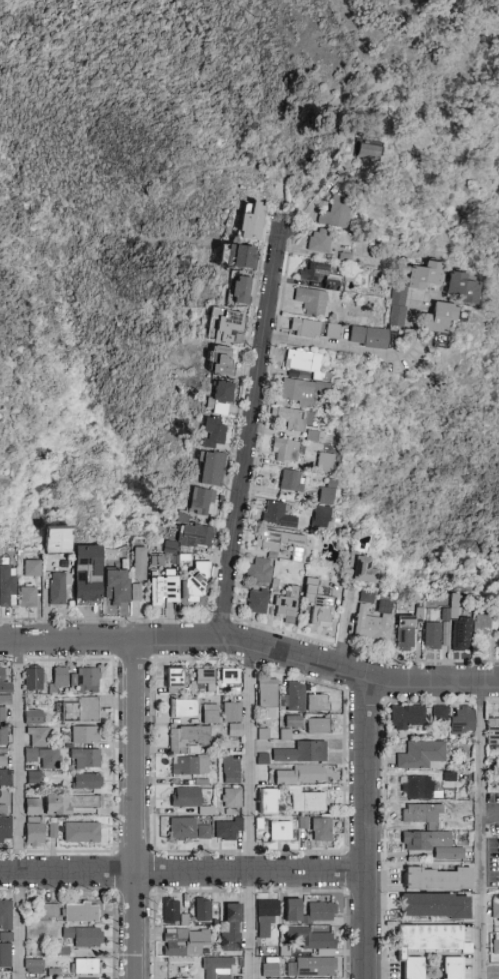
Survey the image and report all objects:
building: (367, 150)
road: (316, 200)
building: (340, 213)
building: (247, 222)
building: (322, 241)
building: (347, 257)
building: (239, 258)
building: (426, 274)
building: (323, 275)
building: (463, 286)
building: (243, 291)
building: (314, 301)
building: (400, 306)
building: (441, 316)
building: (233, 328)
building: (316, 329)
building: (370, 336)
road: (363, 352)
building: (223, 362)
building: (310, 363)
building: (301, 375)
building: (305, 393)
building: (222, 399)
building: (295, 418)
building: (215, 433)
building: (321, 437)
road: (249, 439)
building: (287, 450)
building: (326, 463)
building: (215, 470)
building: (294, 481)
building: (333, 484)
building: (328, 496)
building: (203, 501)
building: (280, 515)
building: (180, 516)
building: (323, 516)
building: (184, 520)
building: (361, 534)
building: (196, 538)
building: (279, 541)
building: (58, 542)
building: (340, 546)
building: (172, 549)
building: (299, 555)
building: (187, 559)
building: (176, 561)
building: (159, 562)
building: (66, 565)
building: (141, 565)
building: (364, 568)
building: (34, 570)
building: (261, 572)
building: (89, 575)
building: (276, 584)
building: (119, 586)
building: (197, 586)
building: (8, 588)
building: (61, 589)
building: (151, 589)
building: (165, 591)
building: (138, 594)
building: (29, 597)
building: (368, 597)
building: (260, 602)
building: (289, 603)
building: (320, 603)
building: (455, 605)
building: (498, 611)
building: (419, 614)
building: (446, 615)
building: (376, 623)
road: (352, 626)
building: (483, 628)
building: (406, 633)
building: (434, 635)
building: (463, 635)
road: (252, 643)
building: (231, 676)
building: (32, 677)
building: (84, 678)
building: (174, 679)
building: (205, 680)
building: (3, 682)
building: (235, 691)
building: (266, 695)
building: (293, 695)
building: (4, 698)
building: (316, 701)
building: (86, 707)
building: (185, 708)
building: (65, 710)
building: (234, 712)
building: (1, 713)
building: (438, 713)
building: (213, 714)
building: (32, 715)
building: (405, 715)
building: (291, 719)
building: (461, 719)
building: (316, 724)
building: (492, 729)
building: (237, 730)
building: (83, 732)
building: (2, 735)
building: (38, 735)
building: (189, 739)
building: (300, 750)
building: (420, 753)
building: (42, 756)
building: (83, 756)
road: (247, 758)
building: (2, 760)
building: (192, 766)
building: (230, 771)
building: (299, 773)
building: (4, 775)
building: (32, 775)
building: (85, 779)
building: (203, 783)
building: (415, 786)
building: (233, 798)
building: (265, 799)
building: (305, 799)
building: (81, 800)
building: (191, 800)
building: (53, 803)
building: (31, 805)
building: (2, 808)
road: (20, 809)
road: (136, 809)
building: (421, 813)
road: (491, 813)
building: (301, 821)
building: (4, 827)
road: (368, 827)
building: (319, 828)
building: (32, 829)
building: (51, 829)
building: (184, 829)
building: (278, 829)
building: (230, 830)
building: (79, 831)
road: (482, 831)
building: (206, 833)
building: (498, 834)
building: (431, 843)
road: (184, 874)
building: (436, 877)
building: (432, 903)
building: (290, 908)
building: (47, 909)
building: (494, 909)
building: (79, 911)
building: (169, 911)
building: (204, 911)
building: (318, 911)
building: (4, 912)
building: (265, 915)
building: (182, 918)
building: (186, 920)
road: (247, 926)
building: (233, 929)
building: (5, 934)
building: (82, 935)
building: (309, 936)
building: (428, 936)
building: (187, 943)
building: (495, 943)
building: (61, 949)
building: (4, 953)
building: (32, 964)
building: (84, 965)
building: (313, 965)
building: (218, 967)
building: (411, 967)
building: (450, 967)
building: (268, 968)
building: (226, 977)
building: (85, 978)

